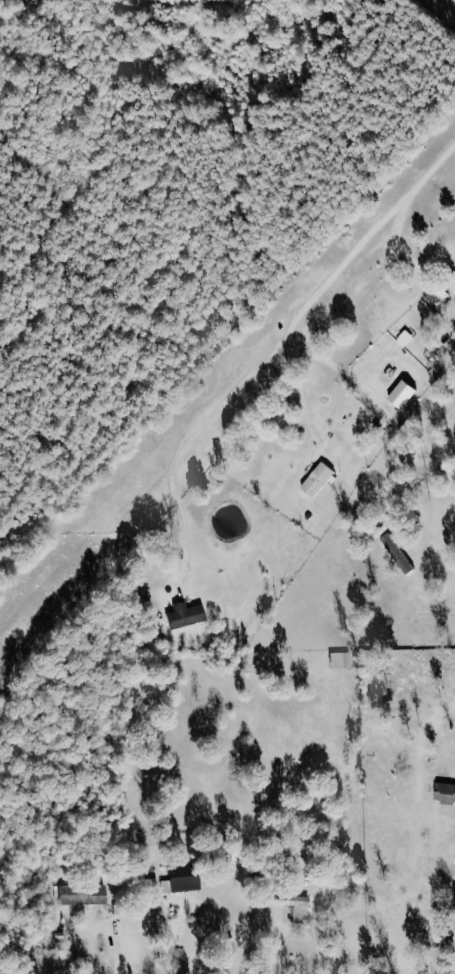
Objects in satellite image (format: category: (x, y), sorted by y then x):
road: (448, 6)
building: (451, 282)
building: (440, 295)
building: (405, 339)
road: (279, 355)
road: (340, 367)
road: (301, 390)
building: (401, 395)
building: (319, 480)
building: (397, 554)
building: (185, 616)
building: (445, 792)
building: (184, 879)
building: (85, 895)
building: (294, 906)
road: (116, 943)
building: (453, 947)

